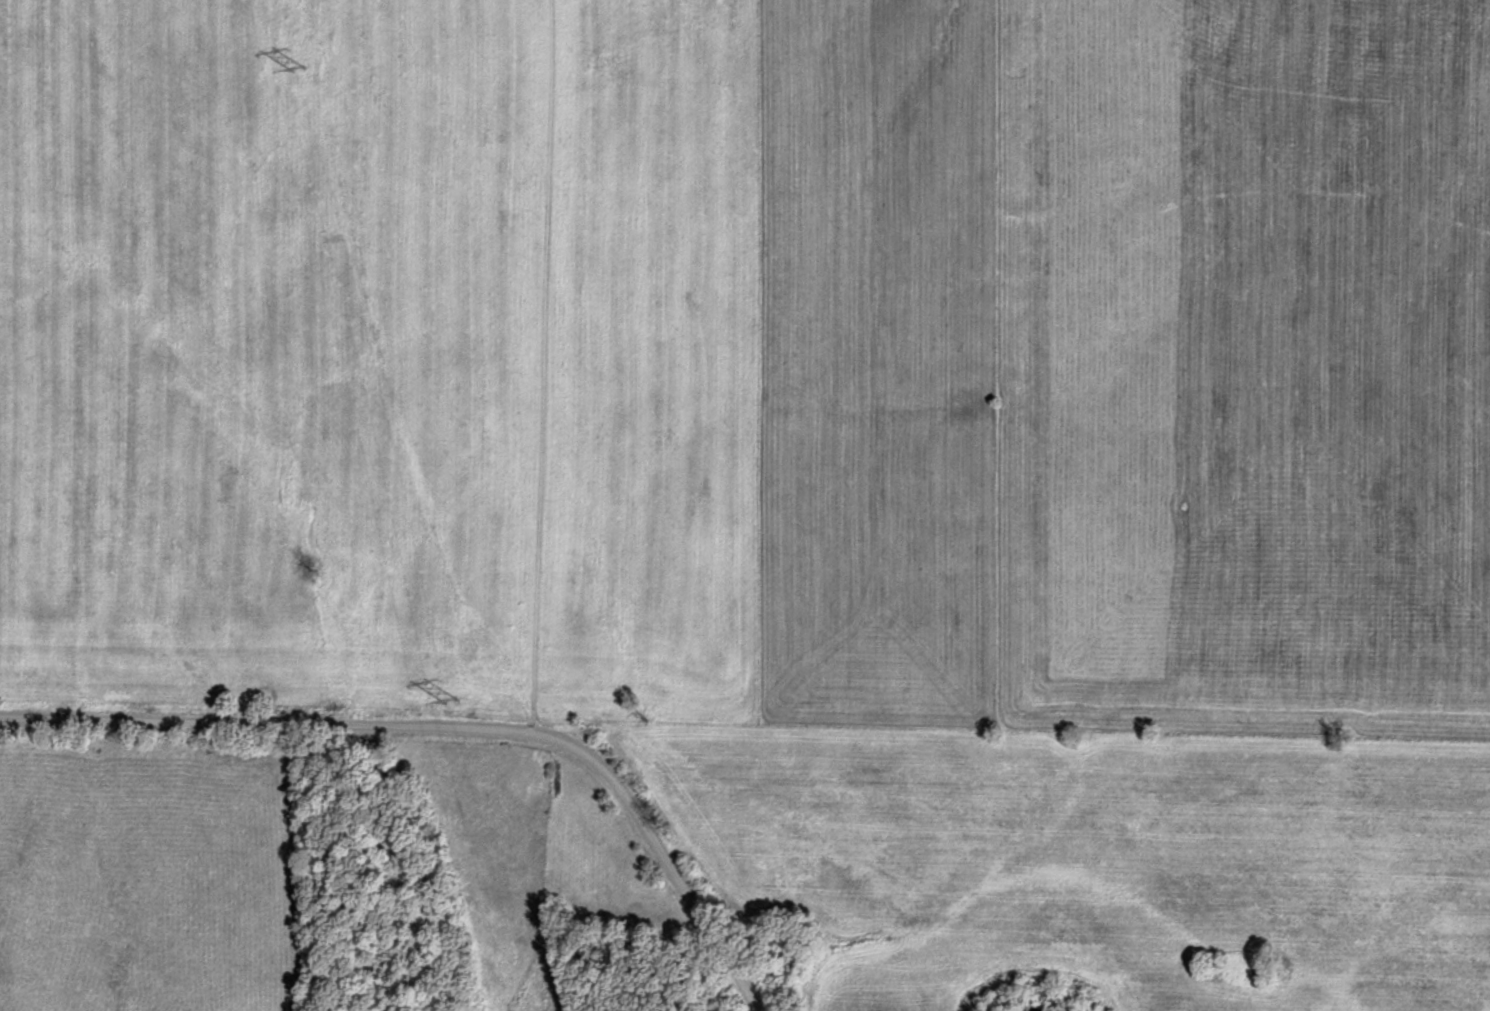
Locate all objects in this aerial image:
power tower: (299, 71)
power tower: (451, 695)
road: (453, 721)

